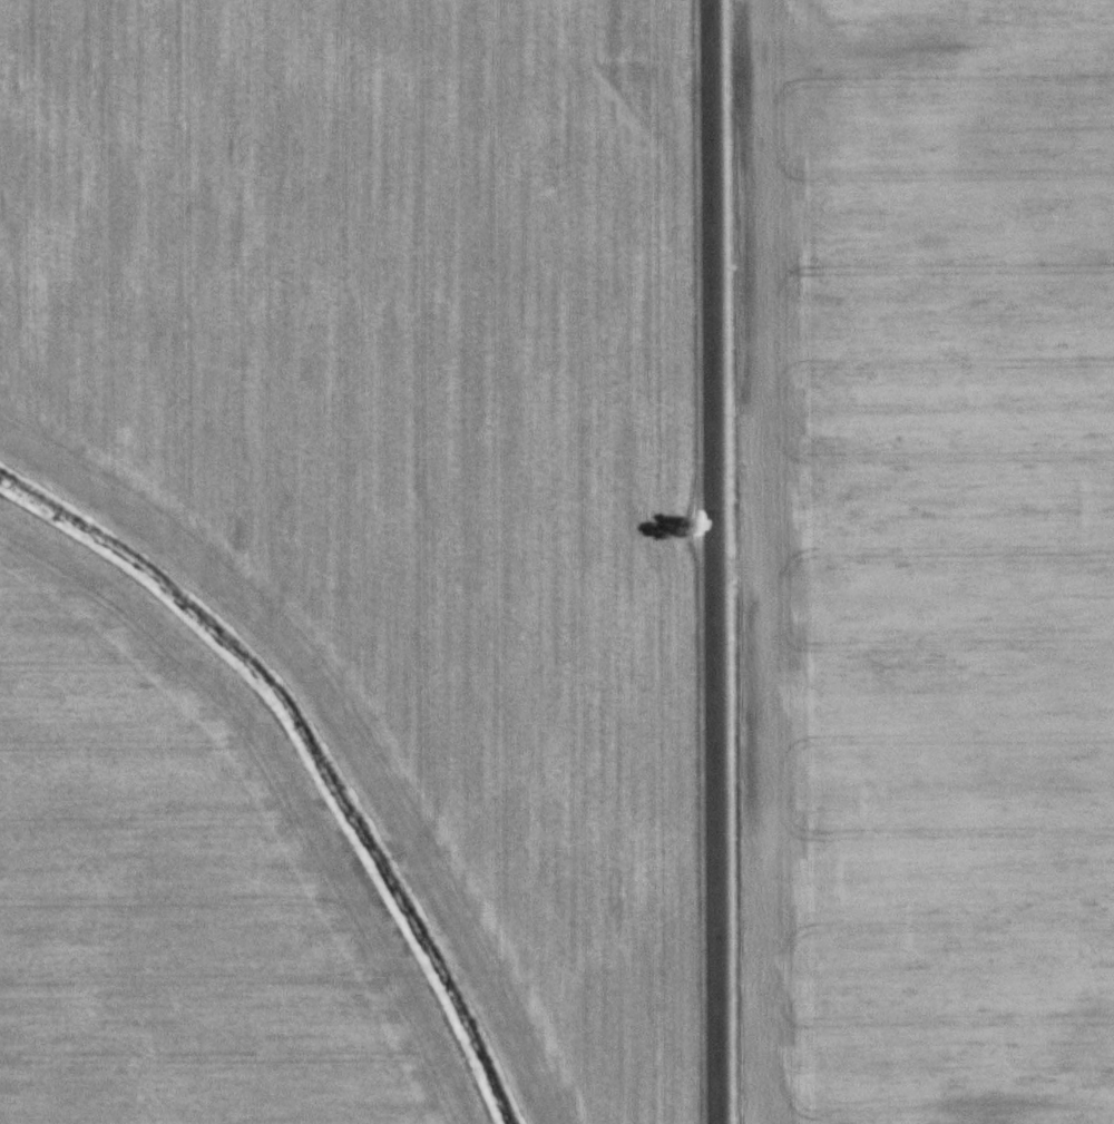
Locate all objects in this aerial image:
road: (712, 561)

